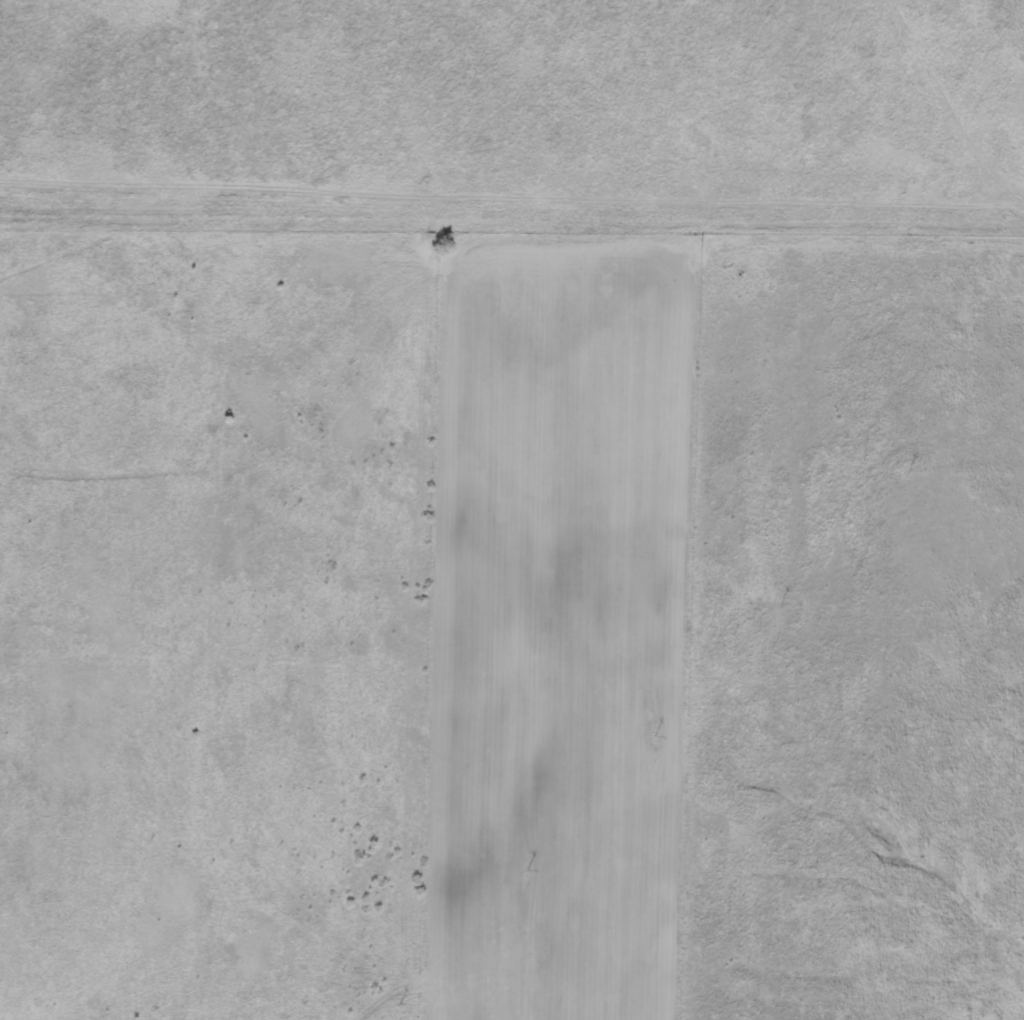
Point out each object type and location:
road: (923, 131)

